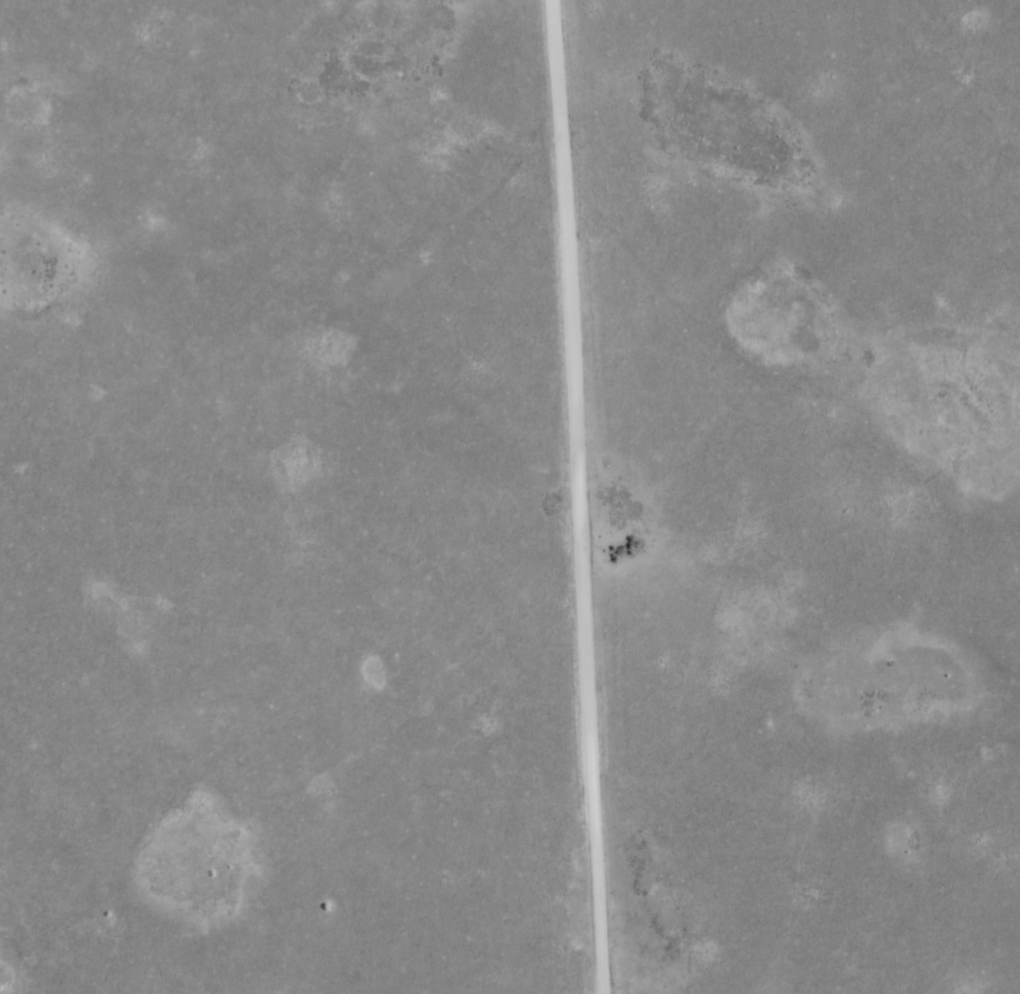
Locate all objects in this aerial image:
road: (580, 496)

